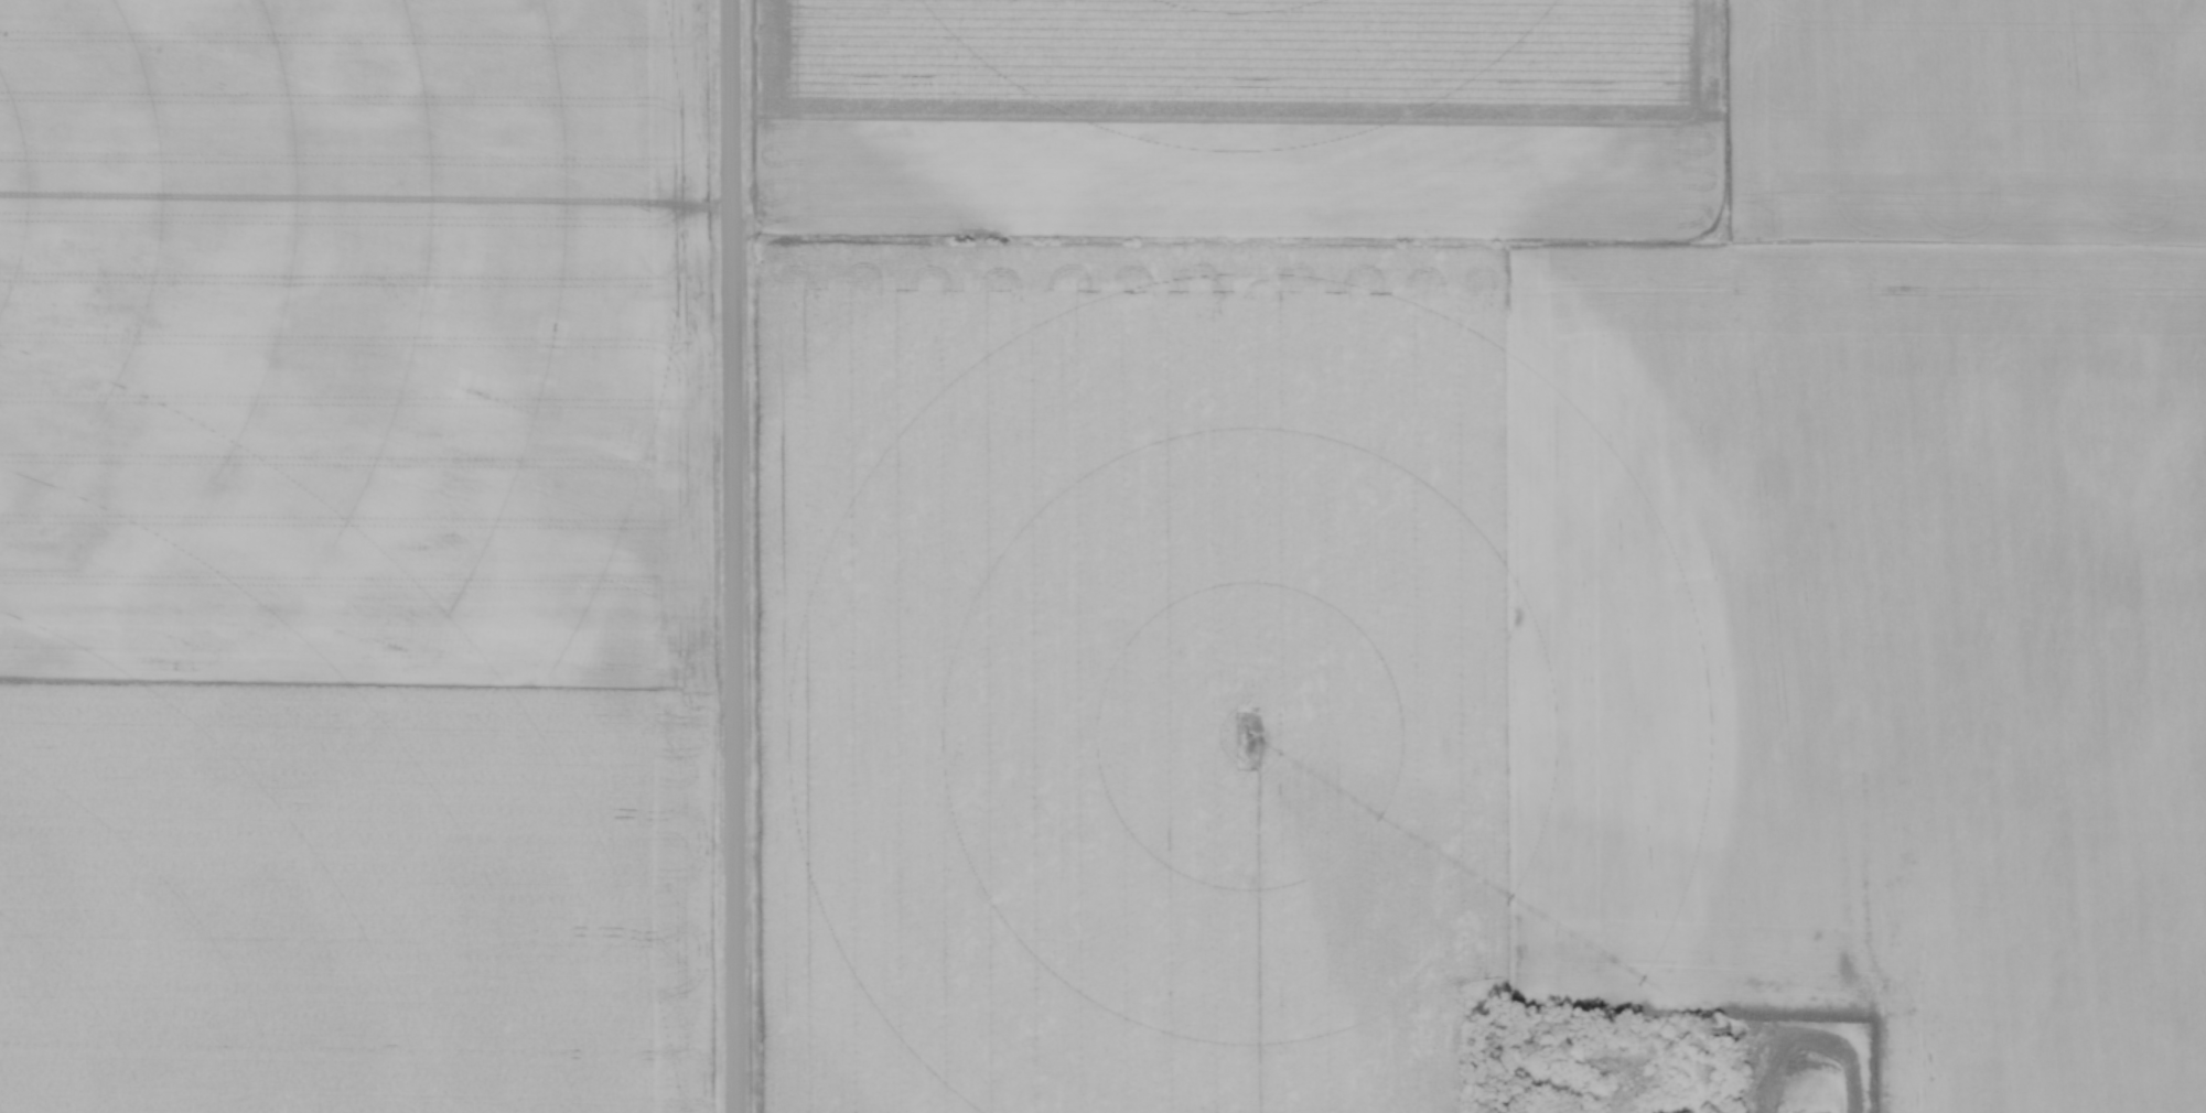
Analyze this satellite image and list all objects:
road: (733, 555)

